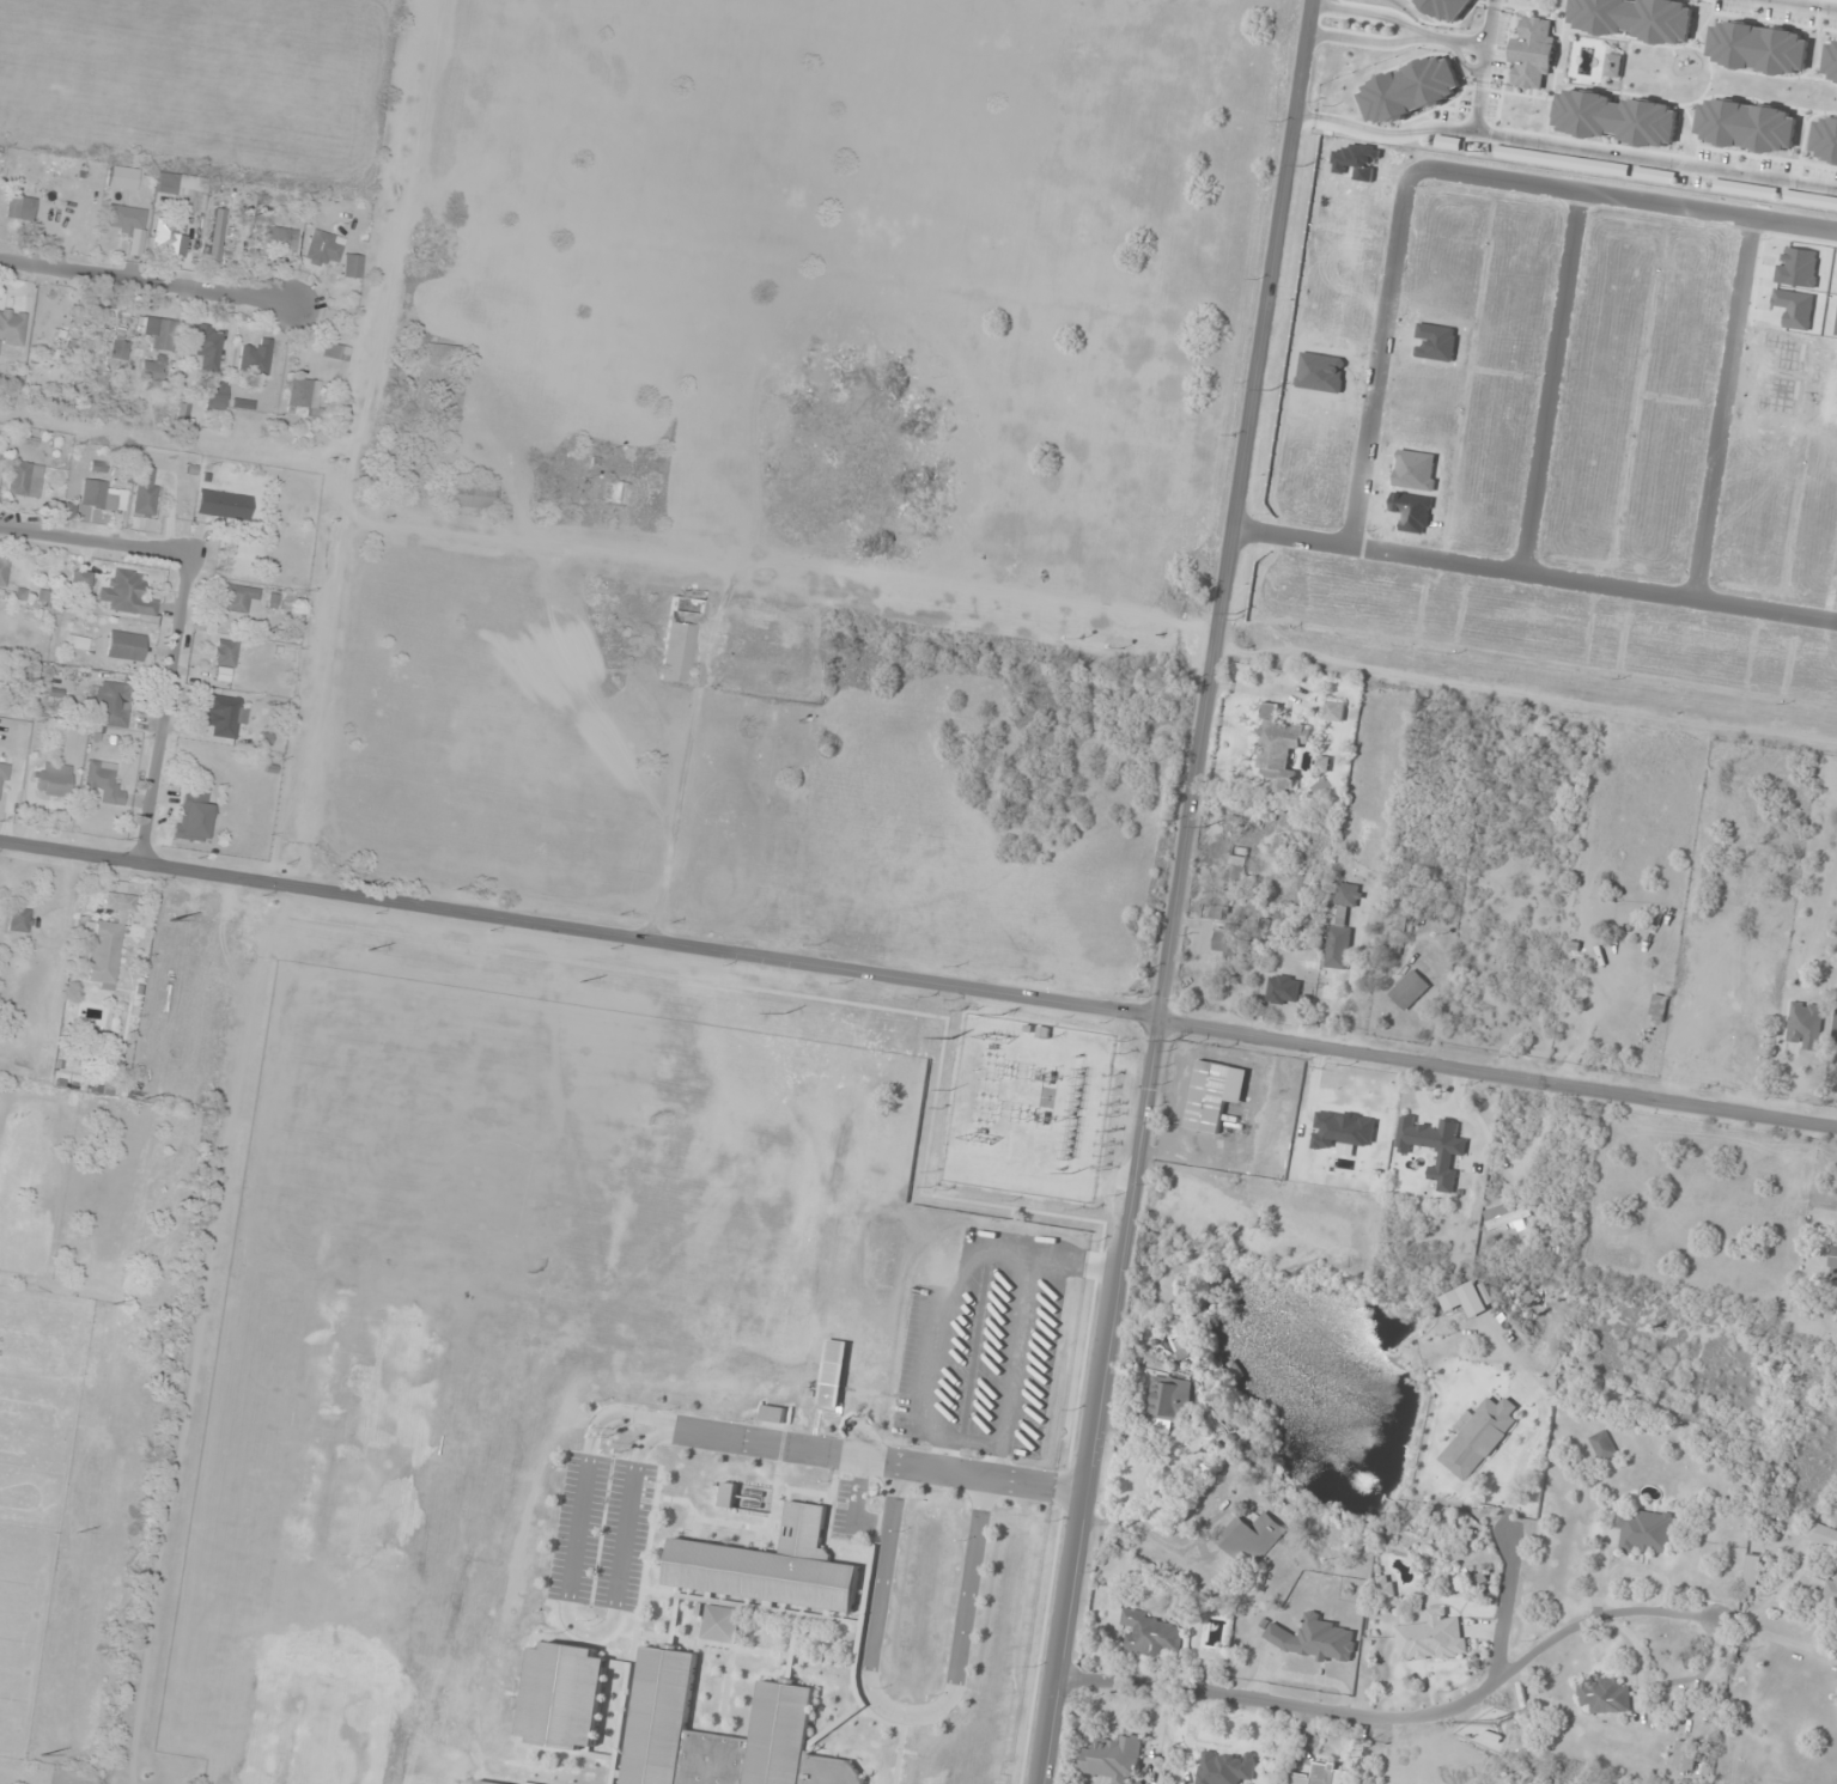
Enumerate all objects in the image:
road: (1801, 5)
road: (1490, 24)
road: (1398, 32)
road: (1382, 136)
road: (1613, 153)
building: (183, 189)
road: (1624, 205)
building: (22, 208)
building: (124, 220)
building: (217, 235)
building: (280, 237)
building: (169, 239)
building: (323, 248)
building: (352, 266)
road: (145, 278)
building: (12, 328)
building: (160, 333)
building: (206, 345)
building: (117, 352)
building: (335, 352)
building: (436, 355)
building: (255, 360)
road: (1380, 361)
building: (152, 370)
road: (1550, 385)
building: (215, 395)
building: (304, 395)
road: (1722, 412)
building: (182, 413)
road: (357, 442)
building: (19, 479)
building: (145, 492)
building: (616, 493)
building: (103, 495)
building: (469, 495)
building: (223, 505)
road: (1234, 511)
road: (783, 565)
building: (4, 571)
road: (1534, 576)
building: (79, 579)
building: (126, 595)
building: (237, 597)
road: (176, 615)
building: (679, 639)
building: (124, 646)
building: (224, 653)
building: (110, 704)
building: (1334, 712)
building: (223, 716)
building: (1279, 748)
building: (1322, 765)
building: (1, 778)
building: (53, 779)
building: (101, 784)
building: (193, 817)
building: (1236, 866)
building: (18, 920)
road: (580, 931)
building: (1340, 931)
building: (108, 939)
building: (1231, 942)
building: (1409, 990)
building: (1283, 991)
building: (1630, 1012)
building: (1805, 1025)
building: (1835, 1028)
building: (1742, 1040)
building: (2, 1049)
road: (1500, 1076)
building: (1213, 1095)
power substation: (1028, 1108)
building: (1508, 1216)
building: (1833, 1269)
building: (1170, 1400)
road: (1103, 1402)
building: (773, 1413)
park: (364, 1435)
building: (1602, 1445)
road: (880, 1461)
road: (856, 1493)
parking lot: (851, 1512)
building: (1644, 1530)
parking lot: (601, 1532)
building: (1824, 1535)
building: (1251, 1540)
building: (771, 1566)
building: (1752, 1569)
building: (1385, 1587)
building: (1831, 1590)
road: (566, 1612)
building: (722, 1624)
building: (1152, 1634)
building: (1431, 1638)
building: (1319, 1640)
building: (565, 1695)
building: (1605, 1695)
building: (784, 1709)
road: (905, 1715)
building: (1502, 1717)
road: (1409, 1723)
park: (317, 1733)
building: (1494, 1737)
building: (1686, 1755)
building: (1115, 1758)
building: (1225, 1767)
building: (1325, 1776)
building: (485, 1783)

